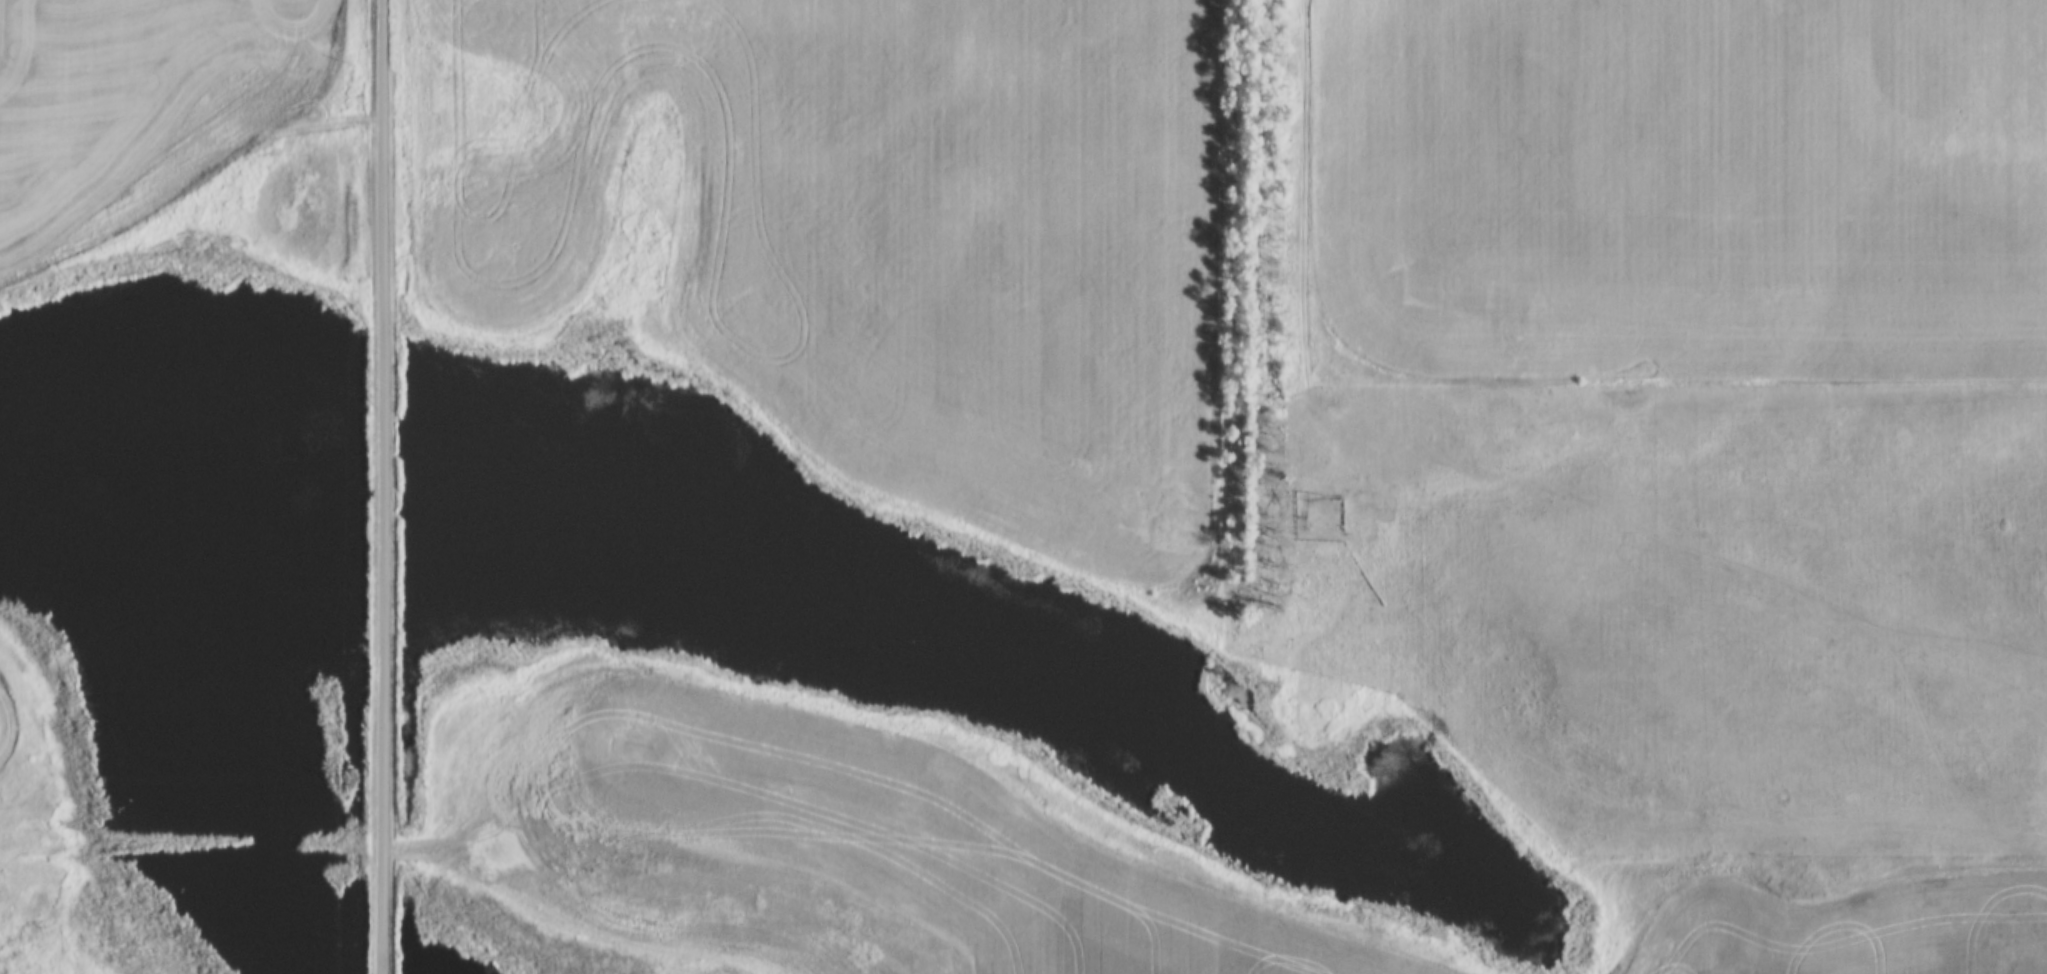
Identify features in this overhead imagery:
road: (384, 487)

